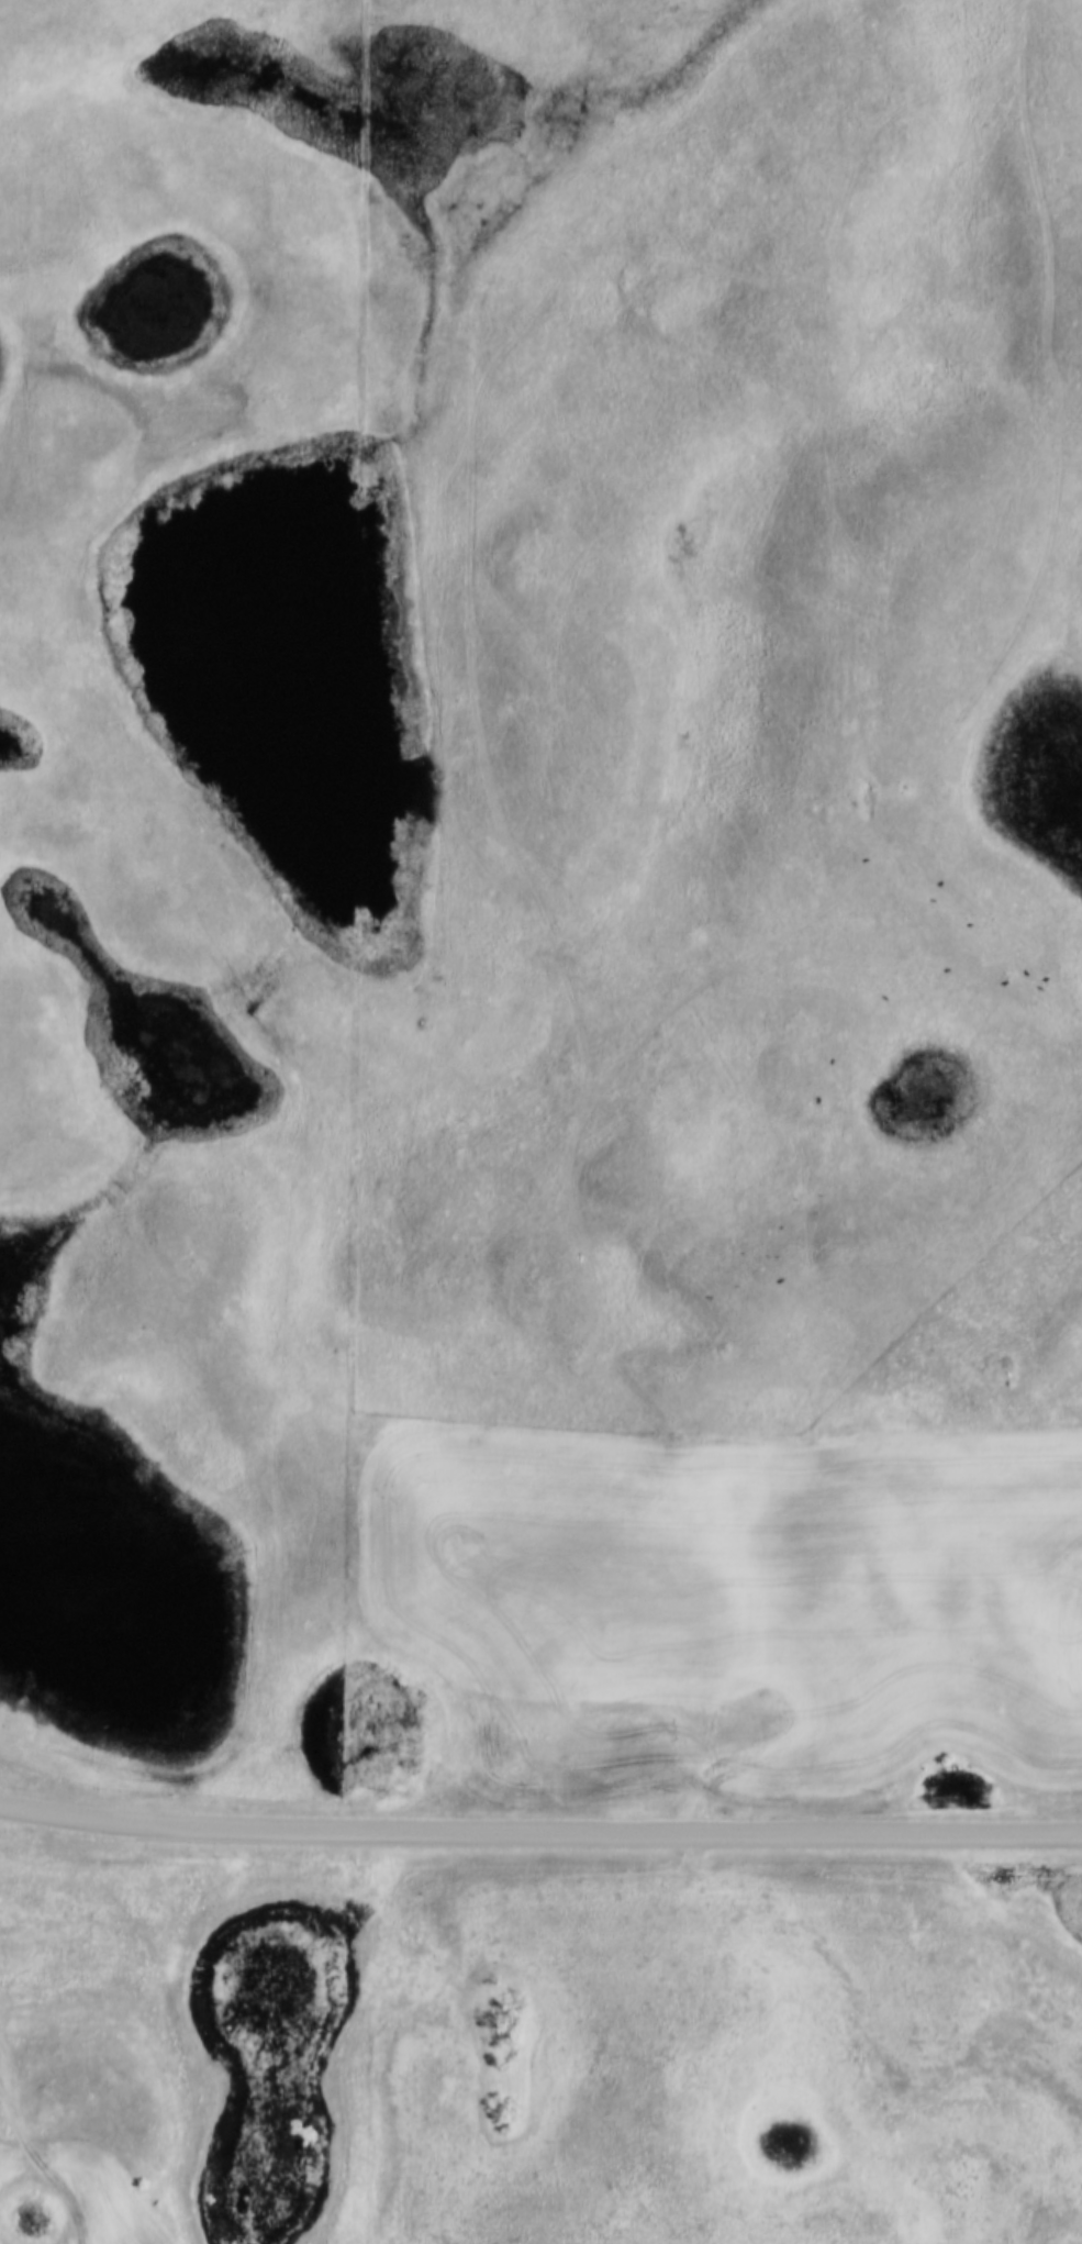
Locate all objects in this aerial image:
road: (539, 1832)
road: (169, 2010)

